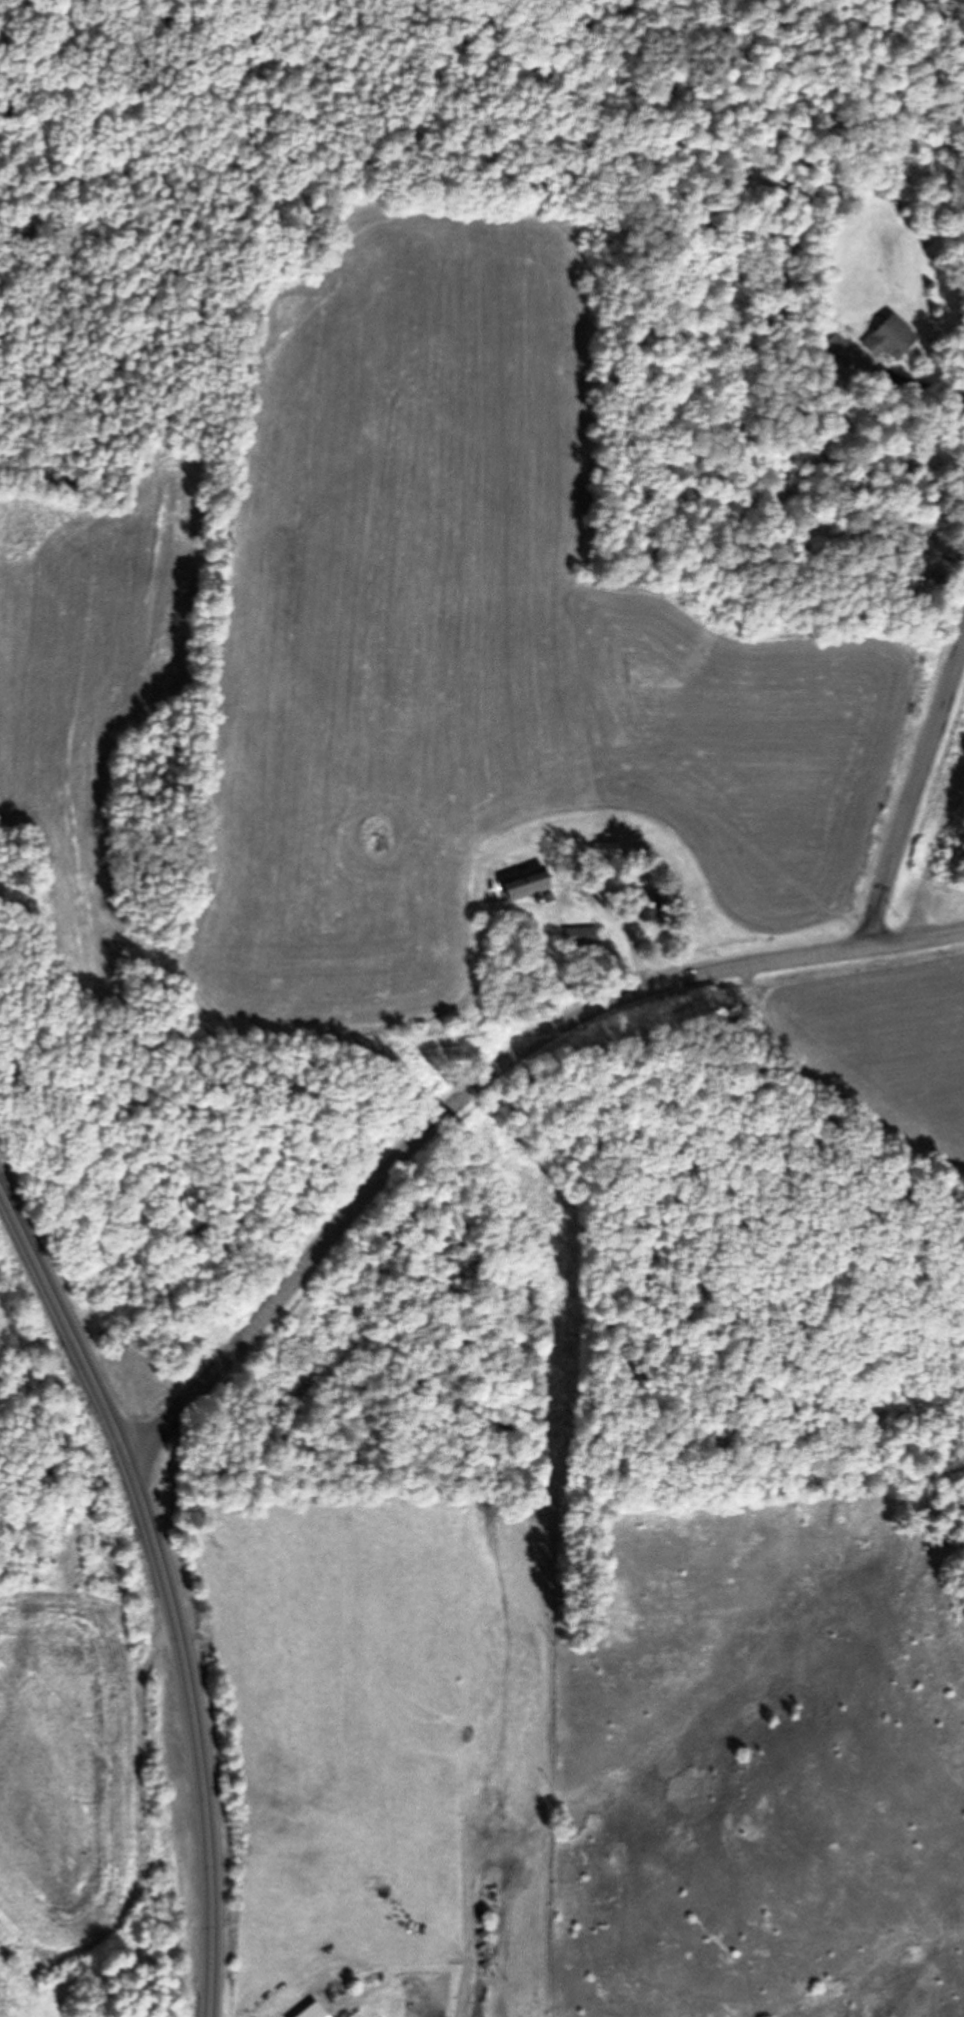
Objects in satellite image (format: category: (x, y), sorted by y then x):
building: (890, 338)
crop: (403, 659)
road: (916, 796)
building: (603, 849)
building: (519, 883)
building: (581, 936)
crop: (862, 1047)
road: (480, 1085)
road: (168, 1586)
crop: (73, 1737)

